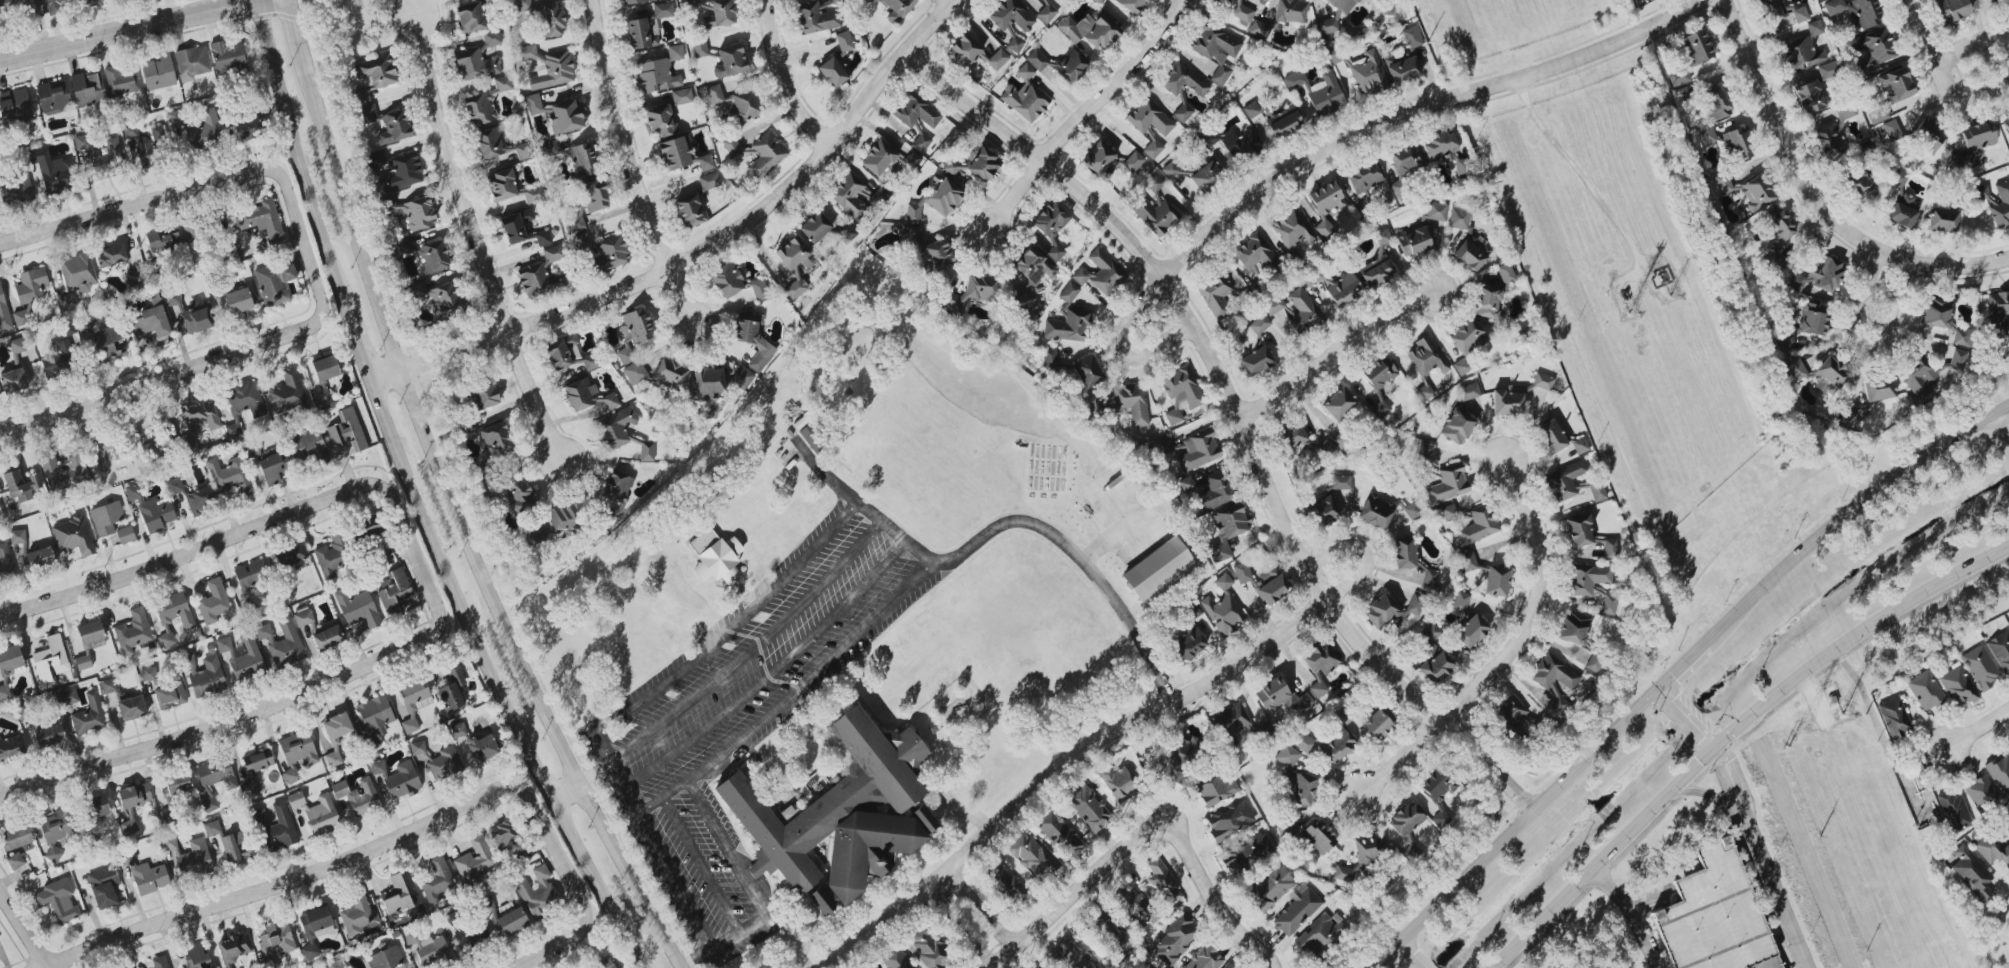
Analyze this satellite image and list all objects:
building: (1057, 0)
building: (1821, 0)
building: (635, 1)
building: (865, 1)
building: (1097, 1)
building: (692, 2)
building: (2001, 2)
building: (89, 3)
road: (949, 4)
building: (57, 5)
building: (523, 5)
building: (1130, 5)
building: (1342, 5)
building: (20, 6)
road: (411, 6)
building: (896, 10)
building: (1951, 10)
building: (1290, 11)
building: (1782, 11)
building: (1856, 11)
building: (1046, 13)
building: (1242, 13)
building: (721, 14)
building: (1010, 15)
building: (817, 16)
building: (470, 17)
building: (550, 20)
building: (1327, 26)
building: (646, 27)
park: (356, 28)
building: (1814, 28)
road: (1922, 28)
road: (294, 29)
building: (1259, 29)
road: (125, 30)
building: (1090, 30)
building: (1411, 37)
building: (491, 38)
road: (1974, 40)
building: (844, 41)
building: (1015, 44)
building: (1697, 46)
building: (699, 48)
building: (1873, 49)
building: (1215, 50)
building: (963, 51)
building: (675, 52)
building: (1801, 54)
building: (227, 56)
building: (997, 59)
building: (1037, 60)
building: (730, 61)
building: (192, 62)
building: (475, 64)
building: (548, 67)
building: (1403, 70)
building: (1828, 70)
building: (833, 71)
building: (158, 73)
building: (1367, 73)
building: (373, 75)
building: (655, 76)
building: (1678, 77)
building: (122, 80)
building: (1182, 80)
road: (797, 82)
building: (88, 89)
building: (1318, 92)
building: (1891, 92)
road: (1964, 95)
building: (1025, 96)
building: (1809, 97)
building: (485, 102)
building: (736, 102)
building: (1715, 103)
building: (533, 104)
building: (1251, 110)
building: (916, 111)
road: (1424, 111)
building: (1845, 111)
building: (1183, 112)
building: (369, 113)
road: (1080, 115)
building: (566, 117)
building: (177, 118)
building: (1149, 118)
building: (2005, 122)
building: (1284, 123)
building: (394, 127)
building: (204, 129)
building: (245, 129)
building: (1891, 130)
building: (1928, 134)
building: (1707, 136)
building: (1978, 136)
building: (1829, 142)
building: (489, 143)
building: (920, 143)
building: (1235, 144)
building: (1737, 144)
building: (141, 146)
building: (731, 147)
road: (1796, 147)
building: (1153, 149)
building: (522, 151)
building: (1445, 152)
building: (101, 153)
building: (682, 154)
road: (294, 155)
building: (766, 155)
building: (378, 158)
building: (878, 158)
building: (912, 159)
building: (1405, 159)
building: (582, 160)
building: (1099, 160)
building: (1133, 161)
building: (1955, 162)
building: (975, 164)
road: (260, 170)
road: (643, 170)
building: (1171, 170)
building: (52, 171)
building: (402, 172)
building: (1205, 172)
building: (1364, 177)
building: (709, 180)
building: (1723, 183)
building: (1859, 185)
building: (16, 187)
building: (510, 187)
building: (594, 195)
building: (849, 195)
building: (1996, 202)
building: (1903, 204)
building: (1326, 207)
building: (689, 210)
building: (409, 212)
building: (1435, 212)
building: (913, 214)
building: (1154, 214)
building: (261, 218)
building: (1942, 220)
building: (574, 221)
building: (815, 227)
building: (522, 229)
building: (1292, 229)
building: (1777, 229)
building: (191, 233)
building: (162, 238)
building: (1413, 241)
building: (1468, 241)
building: (402, 246)
road: (480, 252)
building: (928, 252)
building: (553, 253)
building: (608, 254)
road: (708, 254)
building: (1254, 254)
building: (434, 257)
building: (1773, 259)
building: (1377, 264)
building: (796, 265)
road: (1956, 265)
building: (1100, 272)
building: (77, 273)
building: (1031, 273)
building: (134, 276)
building: (1819, 276)
building: (540, 279)
building: (735, 282)
building: (274, 283)
building: (31, 284)
building: (1343, 289)
building: (971, 292)
power tower: (1670, 293)
building: (1493, 294)
building: (438, 296)
building: (1216, 297)
building: (239, 301)
building: (66, 303)
power tower: (1628, 306)
building: (1293, 313)
building: (1997, 313)
building: (4, 314)
building: (192, 314)
building: (1068, 318)
building: (152, 319)
building: (1944, 321)
building: (1806, 324)
building: (1256, 328)
building: (633, 333)
building: (1467, 337)
building: (753, 339)
road: (358, 343)
building: (110, 344)
road: (1119, 346)
building: (16, 348)
road: (1858, 350)
building: (560, 351)
building: (59, 356)
building: (1050, 357)
road: (1337, 358)
building: (582, 359)
building: (1958, 360)
building: (1255, 361)
building: (1424, 363)
building: (1461, 366)
building: (325, 368)
building: (1796, 369)
building: (1088, 371)
building: (634, 372)
building: (1379, 373)
building: (1828, 374)
building: (669, 375)
building: (743, 378)
building: (1919, 378)
building: (709, 380)
building: (13, 381)
building: (1542, 381)
building: (1878, 389)
road: (115, 391)
building: (288, 391)
building: (1469, 391)
building: (1180, 393)
building: (321, 395)
building: (484, 397)
building: (588, 397)
building: (1132, 402)
building: (1507, 402)
building: (1338, 404)
building: (242, 405)
building: (1380, 408)
road: (2004, 418)
road: (1238, 421)
building: (1456, 426)
building: (615, 428)
building: (347, 431)
building: (1291, 436)
building: (1551, 436)
building: (496, 439)
building: (1339, 440)
building: (1580, 445)
building: (308, 446)
building: (1326, 446)
building: (1191, 450)
building: (646, 451)
building: (1424, 452)
building: (98, 455)
building: (272, 468)
building: (62, 471)
building: (229, 477)
building: (1192, 483)
building: (1339, 483)
building: (1561, 483)
building: (1448, 484)
building: (16, 486)
building: (174, 486)
building: (618, 486)
building: (1214, 492)
building: (518, 495)
building: (200, 501)
road: (855, 505)
road: (1845, 509)
building: (150, 510)
building: (1324, 511)
building: (1374, 512)
building: (106, 518)
building: (557, 521)
building: (1476, 525)
road: (459, 526)
road: (1001, 526)
building: (370, 528)
building: (1227, 530)
building: (1587, 534)
building: (125, 535)
building: (73, 536)
building: (17, 537)
road: (897, 542)
building: (1403, 553)
building: (332, 554)
building: (290, 555)
building: (36, 557)
building: (717, 558)
building: (1468, 561)
building: (5, 563)
road: (150, 568)
building: (1156, 568)
building: (250, 575)
building: (1428, 576)
building: (1224, 581)
building: (1496, 581)
building: (1263, 582)
building: (1594, 585)
building: (394, 592)
building: (213, 602)
building: (1415, 604)
building: (357, 609)
building: (1191, 610)
building: (1381, 611)
building: (1222, 613)
building: (173, 616)
building: (303, 617)
building: (1573, 627)
building: (133, 631)
building: (1470, 631)
building: (328, 638)
building: (89, 642)
building: (282, 643)
building: (1188, 644)
building: (2000, 651)
road: (1518, 654)
building: (242, 656)
building: (1433, 657)
building: (50, 660)
building: (11, 661)
building: (1320, 665)
road: (1685, 666)
building: (1980, 668)
building: (148, 673)
building: (204, 675)
road: (768, 675)
road: (496, 677)
road: (339, 680)
building: (1553, 681)
building: (108, 686)
building: (1956, 686)
building: (451, 687)
building: (1924, 691)
building: (4, 692)
road: (793, 694)
building: (170, 695)
building: (415, 696)
building: (67, 697)
building: (1280, 697)
building: (132, 708)
parking lot: (745, 710)
building: (89, 715)
power tower: (1842, 715)
building: (1510, 716)
building: (374, 718)
building: (1894, 718)
building: (1232, 722)
building: (1379, 722)
building: (409, 725)
building: (458, 730)
road: (1726, 730)
road: (1115, 732)
road: (1979, 732)
power tower: (1802, 733)
building: (49, 735)
building: (335, 736)
road: (1739, 738)
building: (1304, 742)
building: (2008, 745)
building: (11, 746)
building: (1336, 746)
building: (483, 747)
building: (298, 749)
road: (607, 755)
building: (1287, 755)
building: (1179, 757)
building: (435, 760)
building: (377, 766)
building: (256, 770)
road: (617, 773)
building: (291, 774)
building: (2000, 774)
road: (592, 777)
building: (214, 779)
building: (402, 779)
building: (177, 780)
building: (1119, 782)
building: (1435, 784)
building: (1214, 789)
building: (1303, 790)
road: (562, 793)
building: (1980, 793)
building: (134, 795)
building: (358, 796)
road: (631, 800)
building: (98, 806)
building: (1088, 807)
building: (317, 812)
building: (1954, 812)
building: (837, 817)
building: (1229, 820)
building: (1406, 820)
road: (1745, 821)
building: (55, 826)
building: (129, 826)
road: (1516, 826)
building: (2004, 826)
building: (278, 828)
building: (502, 833)
building: (1059, 833)
building: (1318, 836)
building: (15, 838)
building: (231, 845)
road: (725, 846)
building: (1367, 849)
building: (1992, 849)
building: (1246, 853)
building: (1032, 856)
building: (189, 857)
building: (15, 861)
building: (475, 861)
road: (564, 861)
road: (700, 864)
building: (1343, 874)
building: (1973, 874)
building: (146, 875)
building: (437, 880)
building: (1163, 882)
building: (1006, 885)
building: (103, 887)
building: (1269, 888)
road: (1211, 889)
road: (256, 891)
building: (398, 893)
building: (538, 893)
road: (1077, 895)
road: (683, 896)
building: (58, 901)
building: (1136, 907)
building: (1297, 910)
road: (986, 913)
road: (1623, 913)
building: (359, 916)
building: (1714, 916)
parking garage: (1714, 916)
park: (1967, 917)
road: (751, 921)
building: (513, 922)
building: (313, 929)
road: (23, 930)
road: (962, 933)
building: (1111, 933)
building: (1317, 936)
building: (277, 938)
road: (724, 938)
building: (468, 939)
building: (1174, 941)
building: (234, 947)
building: (930, 948)
building: (429, 949)
road: (1280, 953)
road: (1415, 953)
building: (196, 957)
building: (1071, 957)
building: (388, 958)
building: (1205, 958)
building: (895, 959)
building: (160, 962)
building: (605, 962)
building: (227, 966)
building: (1226, 966)
building: (1035, 967)

